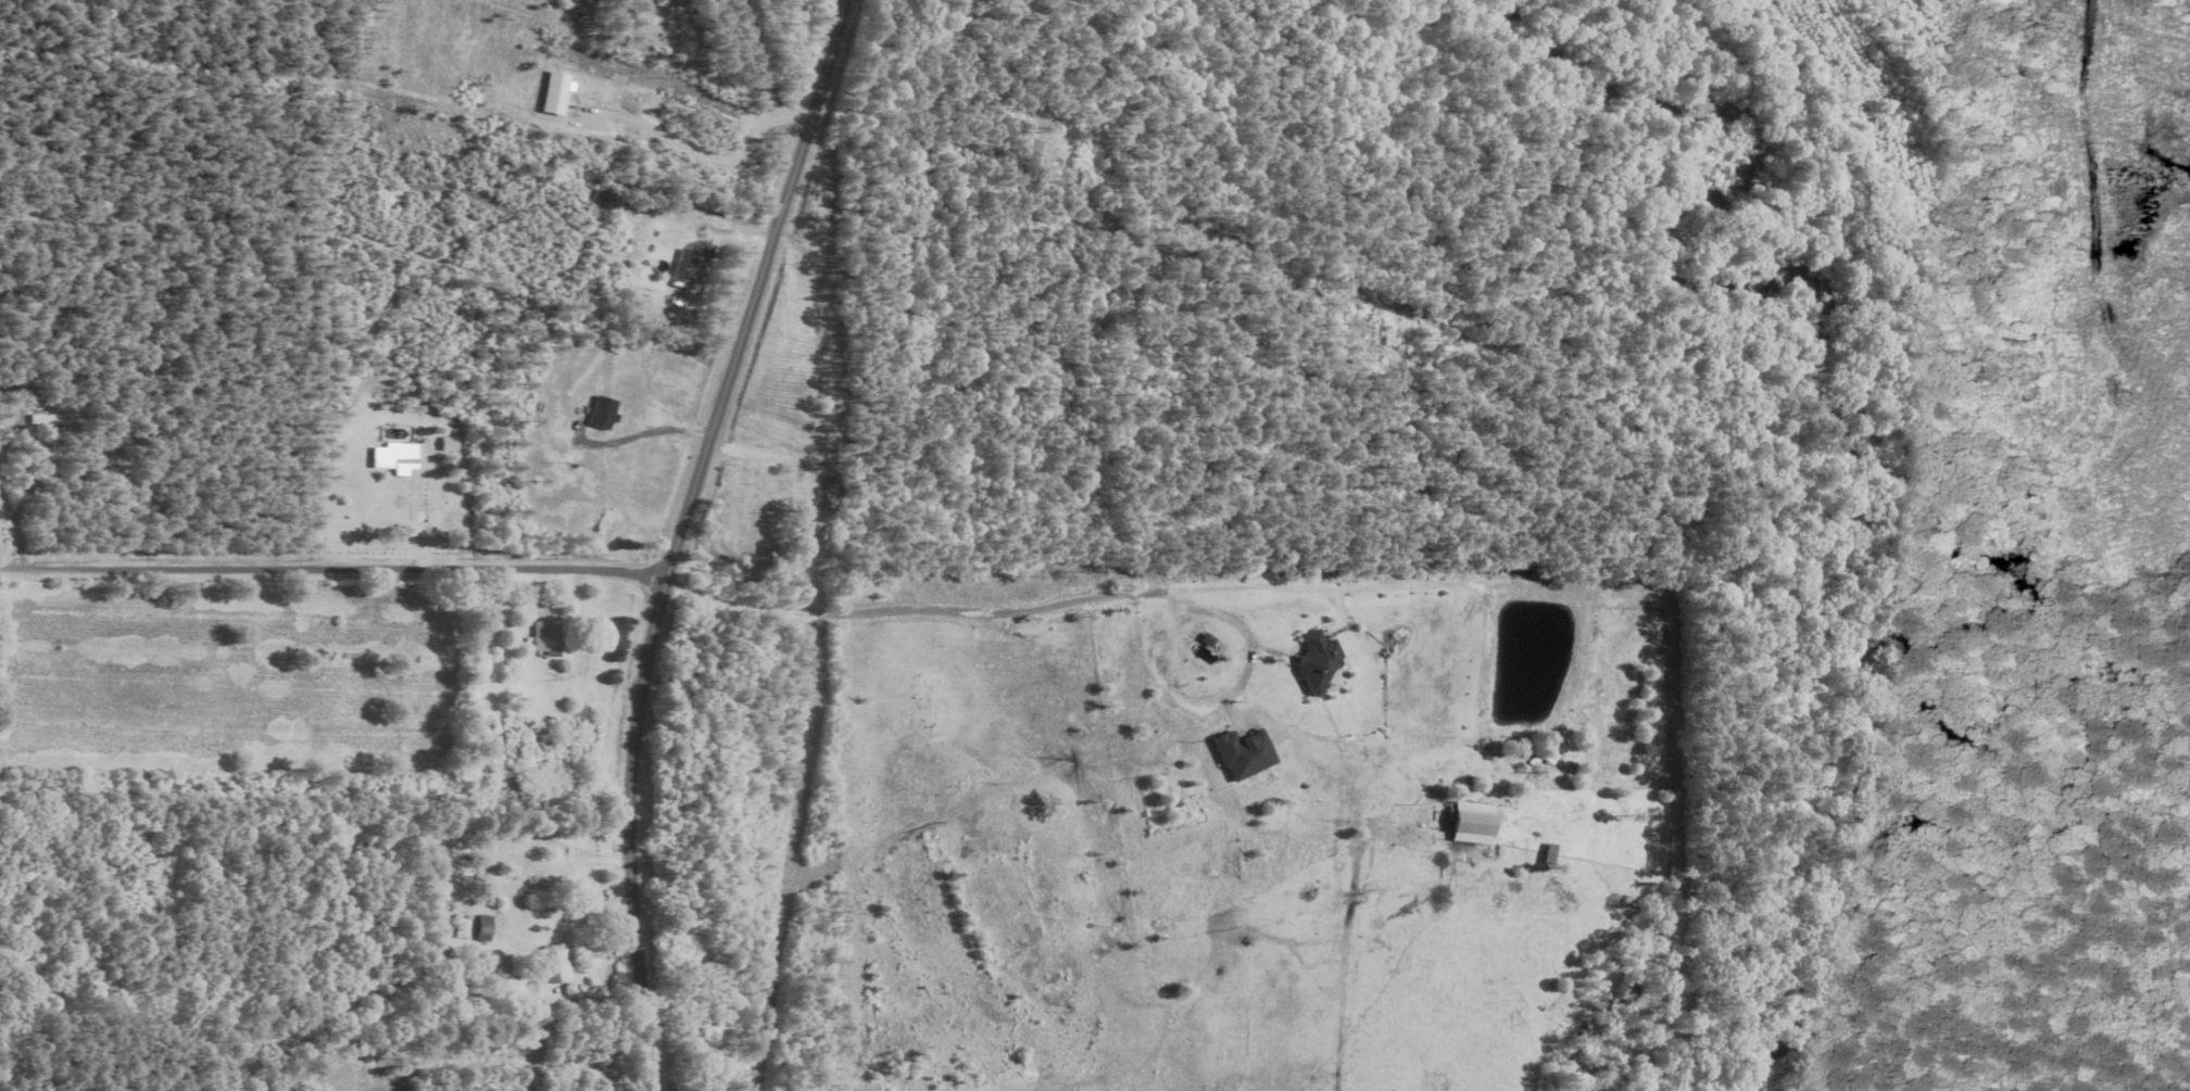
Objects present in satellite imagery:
building: (550, 94)
road: (695, 154)
building: (681, 268)
building: (597, 413)
building: (42, 420)
road: (635, 436)
building: (390, 459)
road: (419, 507)
road: (671, 535)
road: (331, 562)
road: (994, 613)
building: (544, 642)
building: (1310, 661)
building: (1236, 753)
building: (1462, 823)
building: (460, 928)
building: (479, 928)
building: (552, 966)

